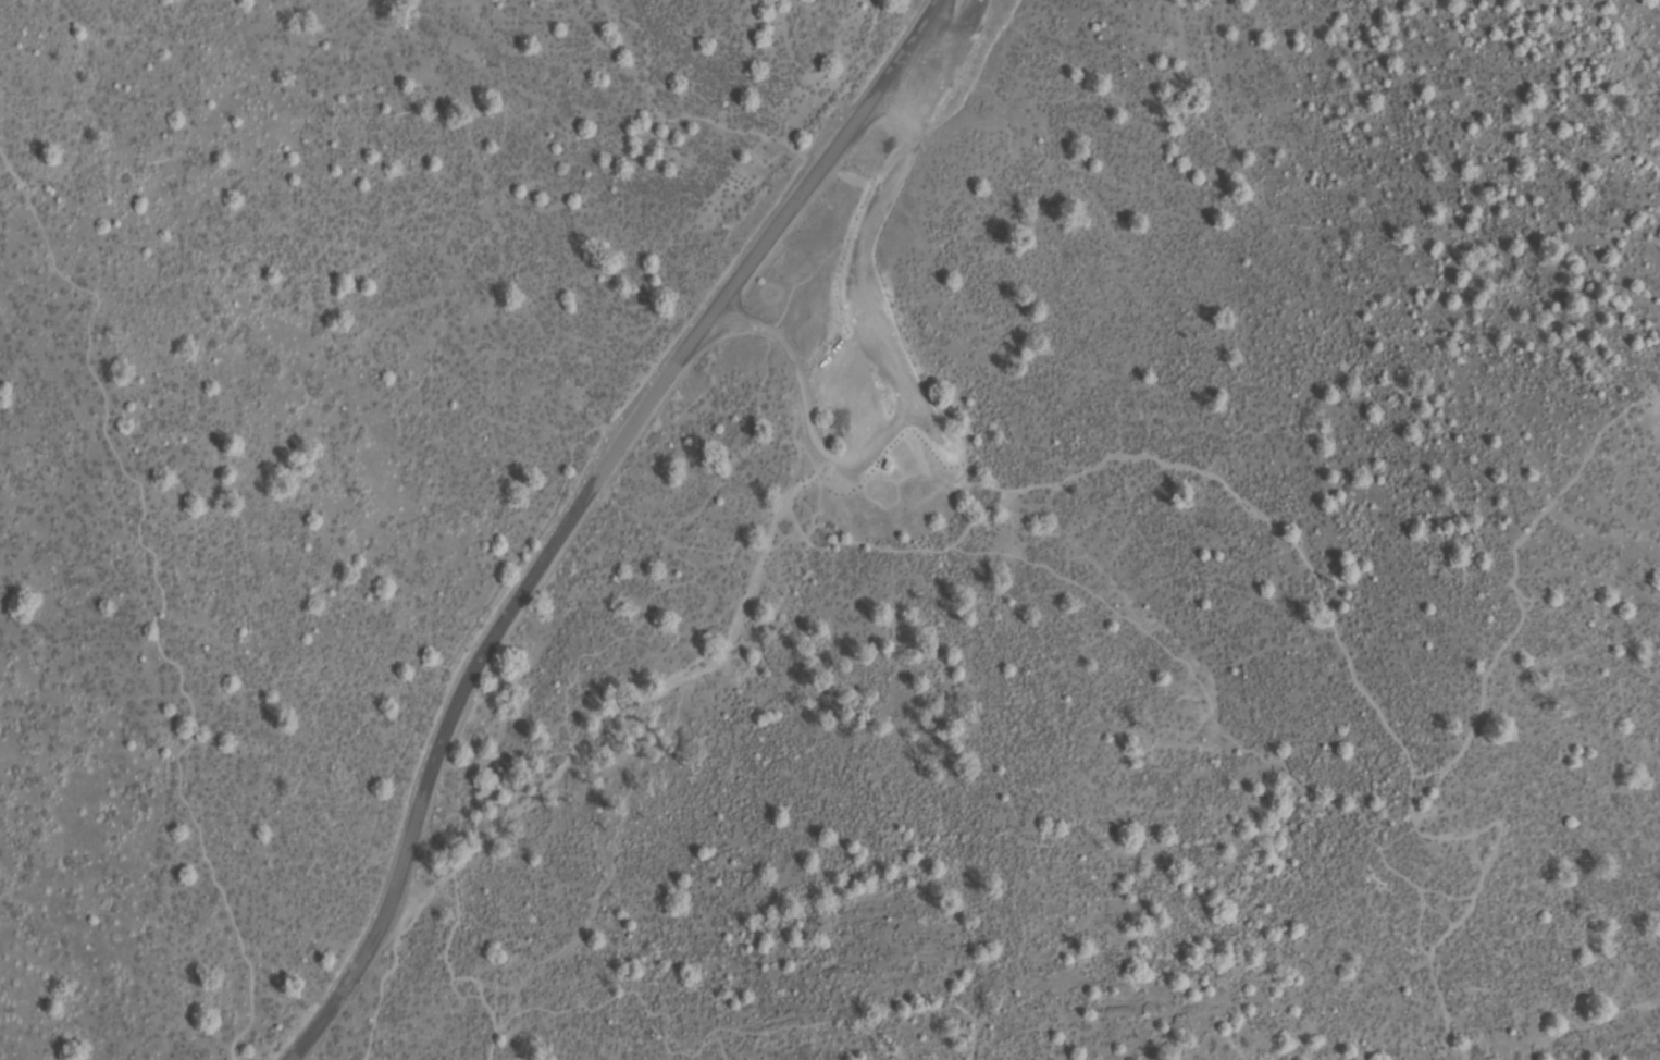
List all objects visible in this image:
road: (978, 83)
road: (890, 365)
building: (888, 466)
road: (1256, 507)
road: (557, 510)
road: (1513, 589)
road: (159, 595)
road: (587, 738)
road: (1478, 890)
road: (380, 964)
road: (625, 987)
road: (484, 1037)

